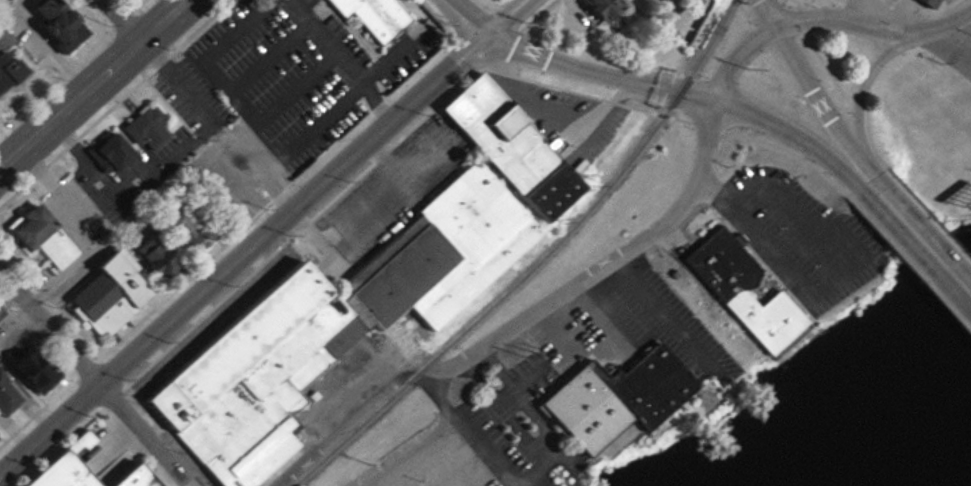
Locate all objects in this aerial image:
building: (920, 2)
building: (591, 8)
building: (369, 16)
building: (44, 22)
road: (925, 32)
building: (8, 68)
road: (865, 78)
road: (96, 85)
road: (667, 90)
road: (820, 100)
building: (143, 128)
road: (222, 137)
building: (508, 149)
building: (106, 152)
building: (185, 231)
building: (36, 235)
road: (263, 237)
road: (645, 237)
road: (925, 253)
building: (151, 257)
railway: (535, 263)
road: (825, 277)
building: (736, 291)
building: (104, 293)
road: (362, 296)
road: (598, 317)
building: (324, 326)
road: (554, 331)
road: (399, 338)
building: (24, 370)
road: (94, 378)
building: (610, 396)
building: (2, 398)
road: (504, 410)
building: (64, 474)
building: (136, 479)
road: (526, 479)
river: (965, 482)

